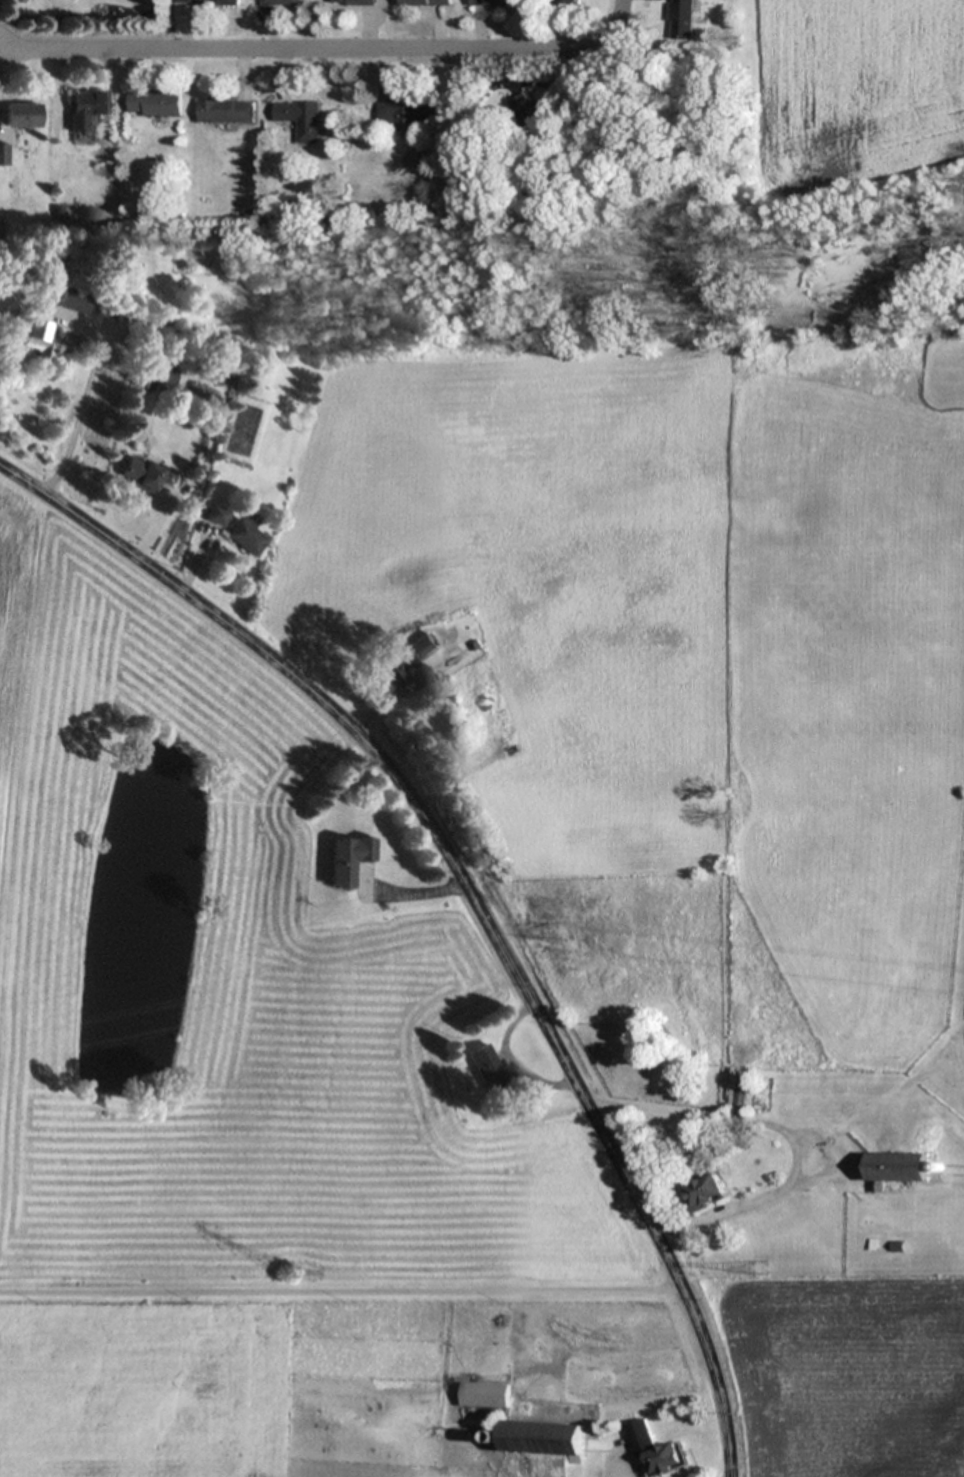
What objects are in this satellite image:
building: (209, 2)
building: (282, 2)
building: (354, 2)
building: (426, 2)
building: (569, 2)
building: (494, 3)
building: (685, 18)
road: (326, 48)
building: (156, 103)
building: (88, 108)
building: (225, 110)
building: (405, 112)
building: (533, 113)
building: (23, 114)
building: (301, 119)
building: (4, 154)
building: (72, 300)
building: (36, 338)
building: (155, 376)
building: (147, 473)
building: (218, 514)
building: (247, 536)
building: (404, 660)
crop: (812, 707)
building: (348, 858)
road: (472, 891)
power tower: (555, 931)
building: (488, 1066)
building: (739, 1092)
building: (809, 1106)
road: (783, 1128)
building: (898, 1167)
building: (706, 1191)
building: (895, 1246)
power tower: (760, 1267)
power tower: (287, 1272)
road: (339, 1287)

